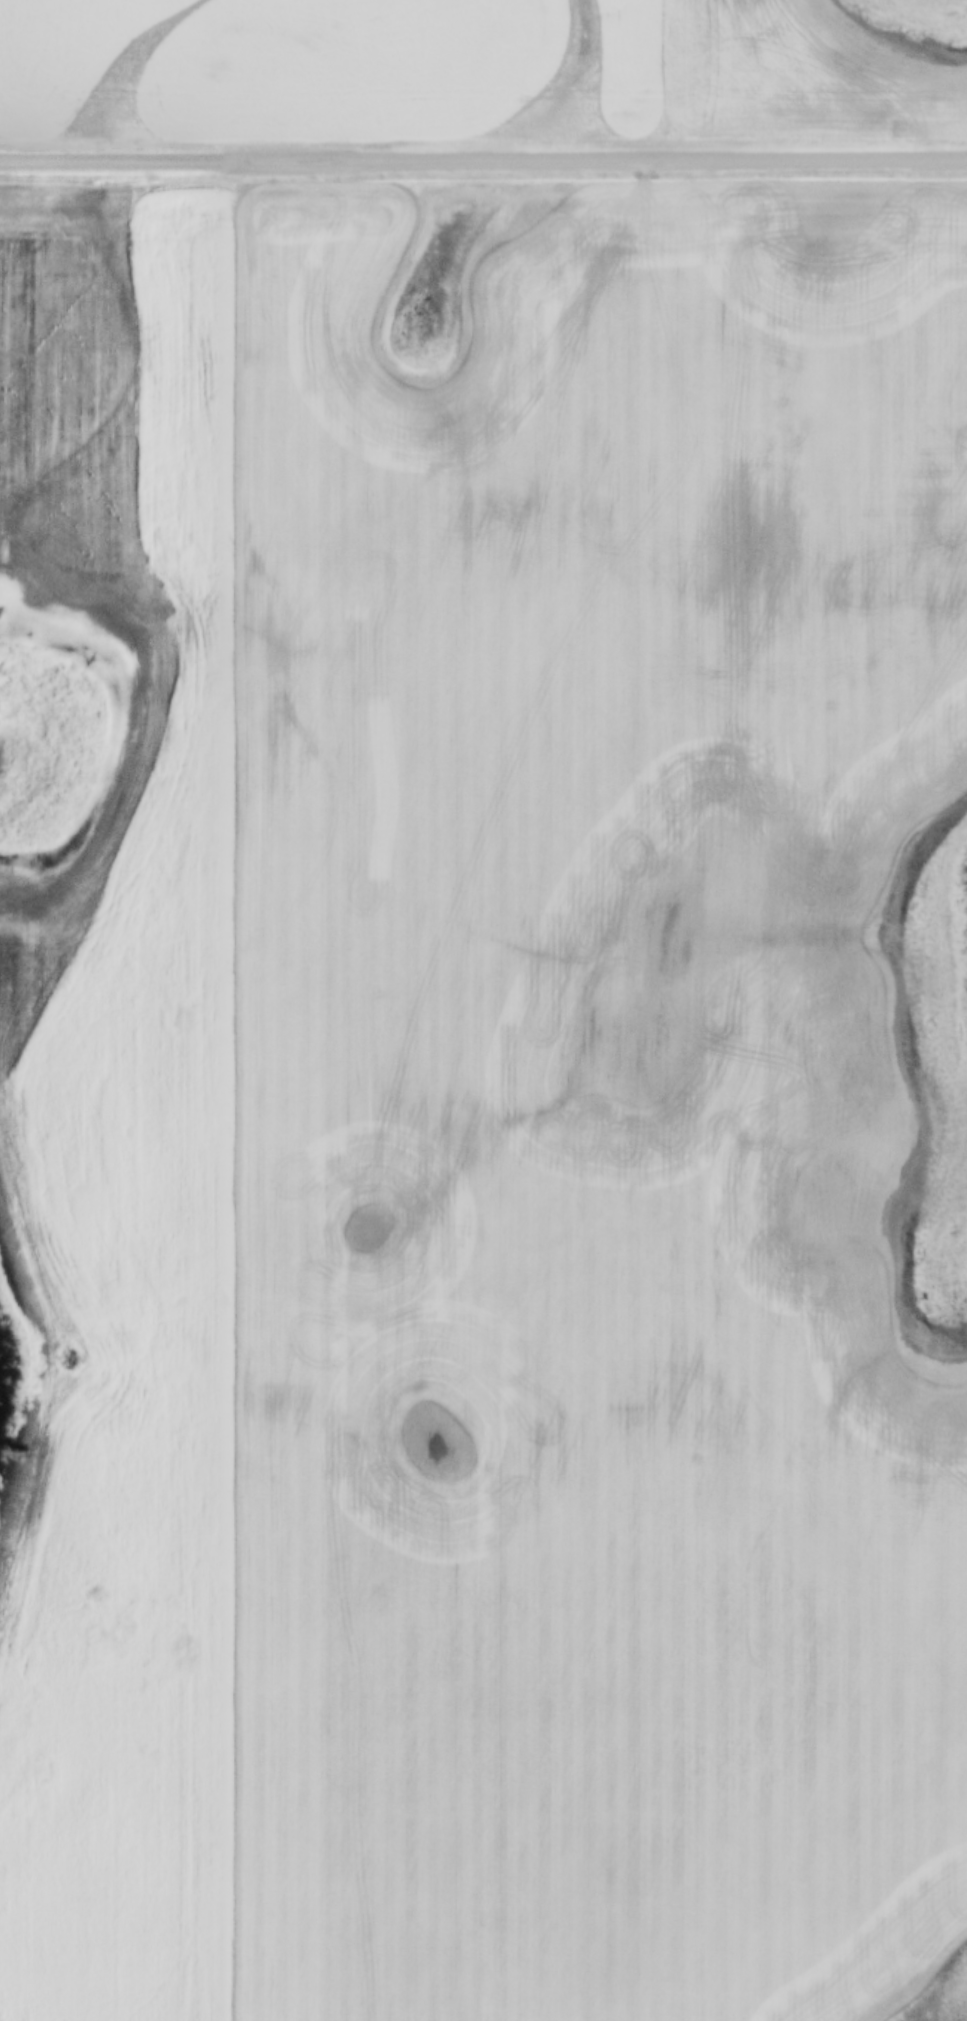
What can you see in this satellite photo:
road: (483, 156)

